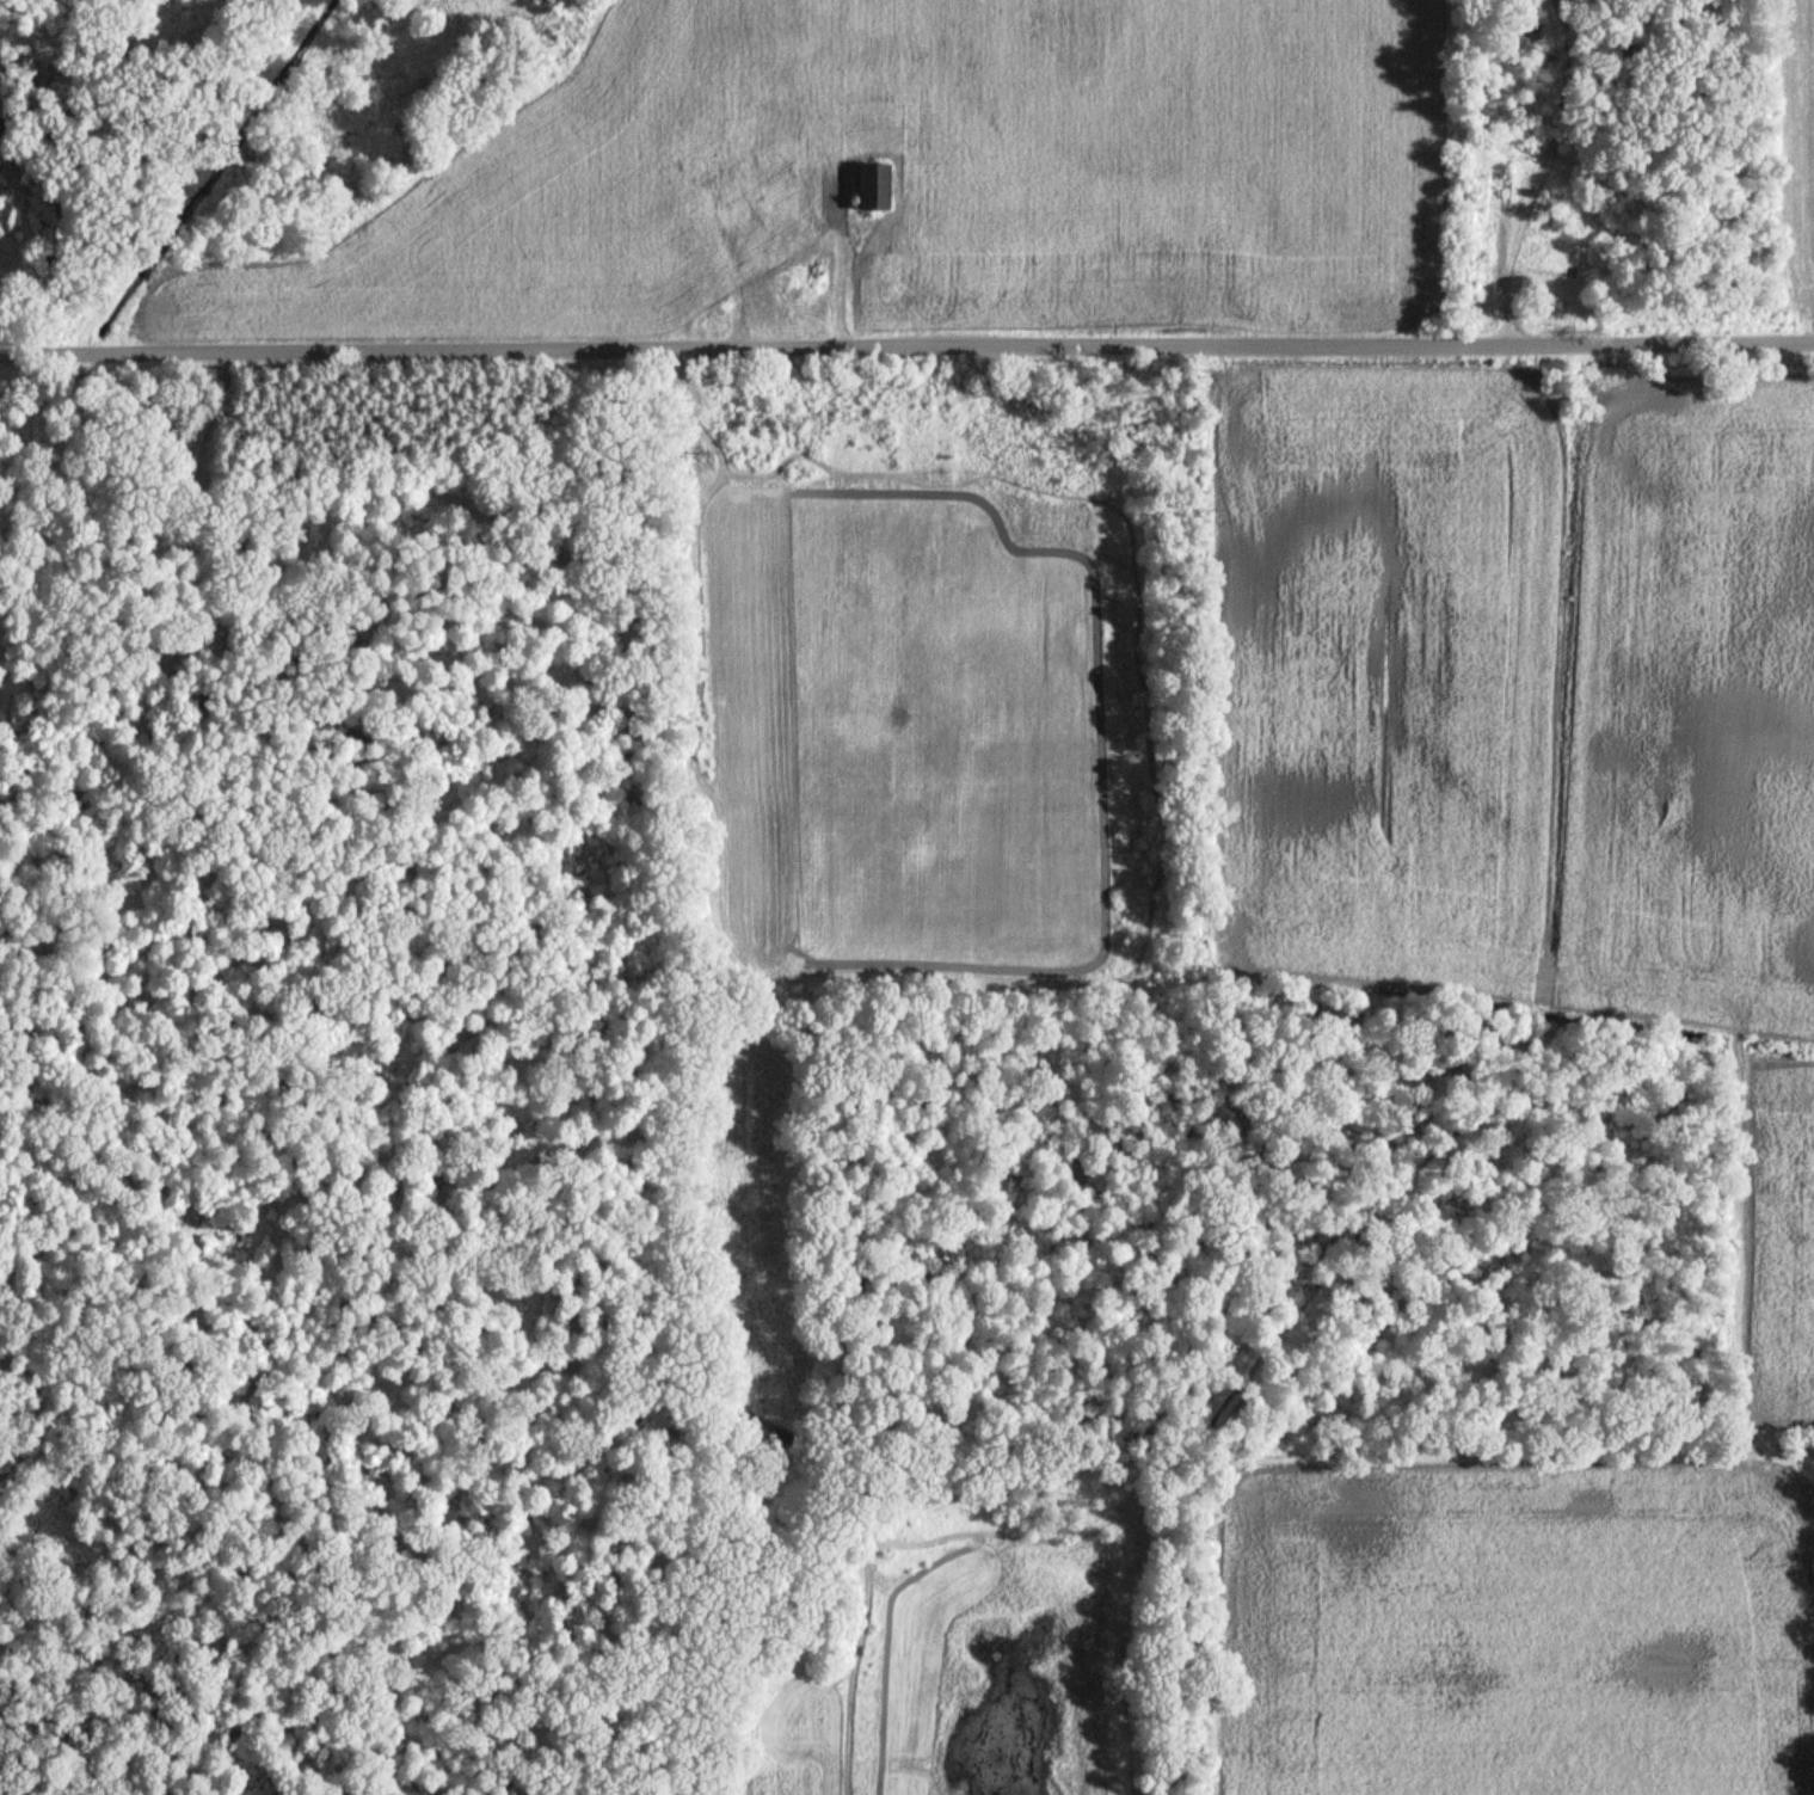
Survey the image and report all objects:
crop: (1801, 153)
crop: (1142, 159)
road: (836, 164)
road: (1535, 182)
building: (873, 192)
crop: (566, 203)
road: (906, 346)
road: (195, 465)
road: (691, 583)
crop: (908, 727)

